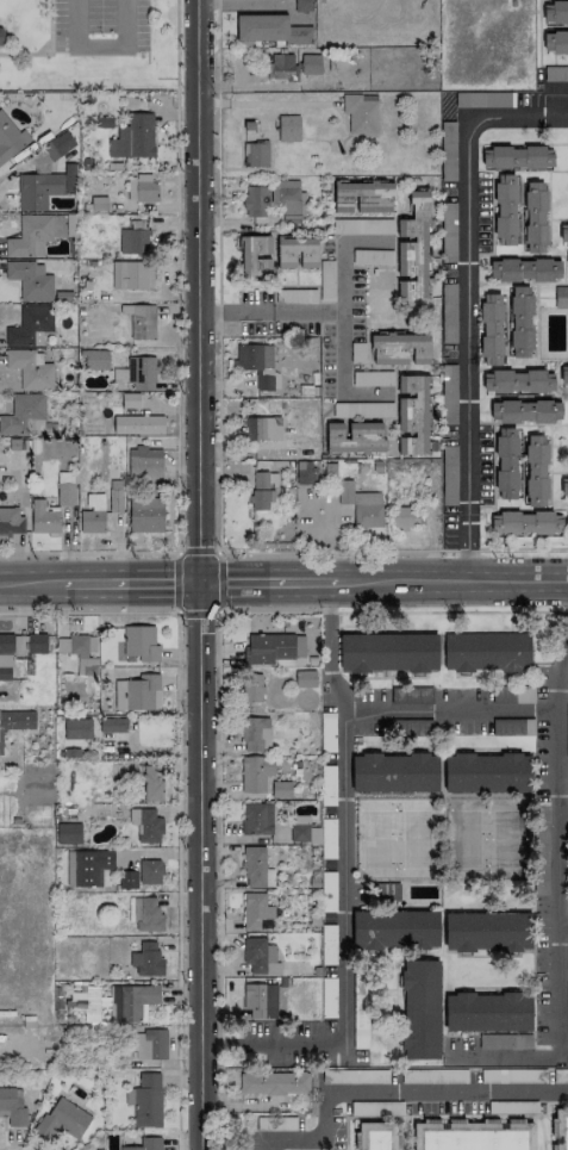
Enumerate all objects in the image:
road: (176, 1)
building: (554, 12)
building: (269, 29)
building: (555, 43)
park: (86, 44)
road: (100, 44)
road: (176, 51)
building: (310, 64)
building: (282, 67)
building: (556, 73)
building: (360, 113)
building: (288, 129)
building: (133, 137)
building: (11, 138)
building: (58, 145)
building: (255, 154)
building: (517, 157)
road: (218, 169)
building: (43, 187)
building: (139, 188)
building: (362, 197)
building: (287, 198)
building: (255, 201)
building: (505, 210)
building: (563, 232)
building: (35, 235)
building: (132, 241)
building: (412, 249)
building: (295, 253)
building: (256, 256)
building: (567, 262)
building: (524, 269)
building: (131, 275)
building: (30, 280)
road: (196, 291)
road: (339, 294)
building: (561, 297)
road: (467, 304)
road: (233, 311)
building: (141, 321)
building: (519, 322)
building: (30, 325)
road: (177, 327)
building: (491, 329)
building: (399, 349)
building: (95, 360)
building: (257, 365)
building: (30, 369)
road: (339, 369)
building: (141, 373)
building: (563, 374)
building: (516, 381)
building: (525, 411)
building: (21, 412)
building: (412, 415)
building: (137, 425)
building: (261, 429)
building: (354, 437)
road: (218, 445)
building: (144, 462)
building: (505, 462)
building: (535, 470)
building: (304, 472)
building: (563, 486)
building: (64, 491)
building: (261, 491)
building: (114, 499)
building: (361, 505)
building: (145, 514)
building: (567, 515)
building: (43, 518)
building: (401, 518)
building: (92, 521)
building: (11, 522)
building: (524, 523)
road: (392, 549)
road: (87, 552)
road: (267, 582)
road: (451, 582)
road: (32, 583)
road: (131, 583)
traffic signals: (199, 583)
road: (329, 607)
road: (199, 609)
road: (174, 615)
road: (563, 622)
building: (139, 645)
building: (18, 648)
building: (273, 648)
building: (387, 652)
building: (485, 652)
building: (77, 653)
building: (305, 679)
building: (251, 688)
building: (137, 694)
road: (449, 710)
building: (15, 721)
building: (112, 725)
building: (75, 731)
building: (255, 734)
building: (394, 772)
building: (485, 772)
building: (255, 773)
building: (151, 783)
building: (280, 789)
road: (563, 816)
building: (256, 819)
building: (145, 825)
building: (68, 833)
building: (87, 866)
building: (255, 868)
building: (150, 872)
building: (127, 879)
road: (219, 882)
road: (342, 883)
building: (388, 891)
road: (199, 893)
building: (255, 910)
road: (558, 913)
building: (144, 914)
building: (394, 930)
building: (487, 931)
road: (563, 932)
building: (260, 957)
building: (146, 959)
building: (260, 1000)
building: (131, 1002)
building: (87, 1003)
building: (419, 1009)
building: (487, 1012)
road: (220, 1044)
building: (150, 1045)
building: (274, 1082)
road: (445, 1093)
road: (220, 1099)
road: (262, 1099)
building: (145, 1100)
building: (12, 1107)
building: (62, 1119)
building: (561, 1130)
building: (377, 1136)
building: (474, 1136)
road: (310, 1137)
building: (145, 1144)

